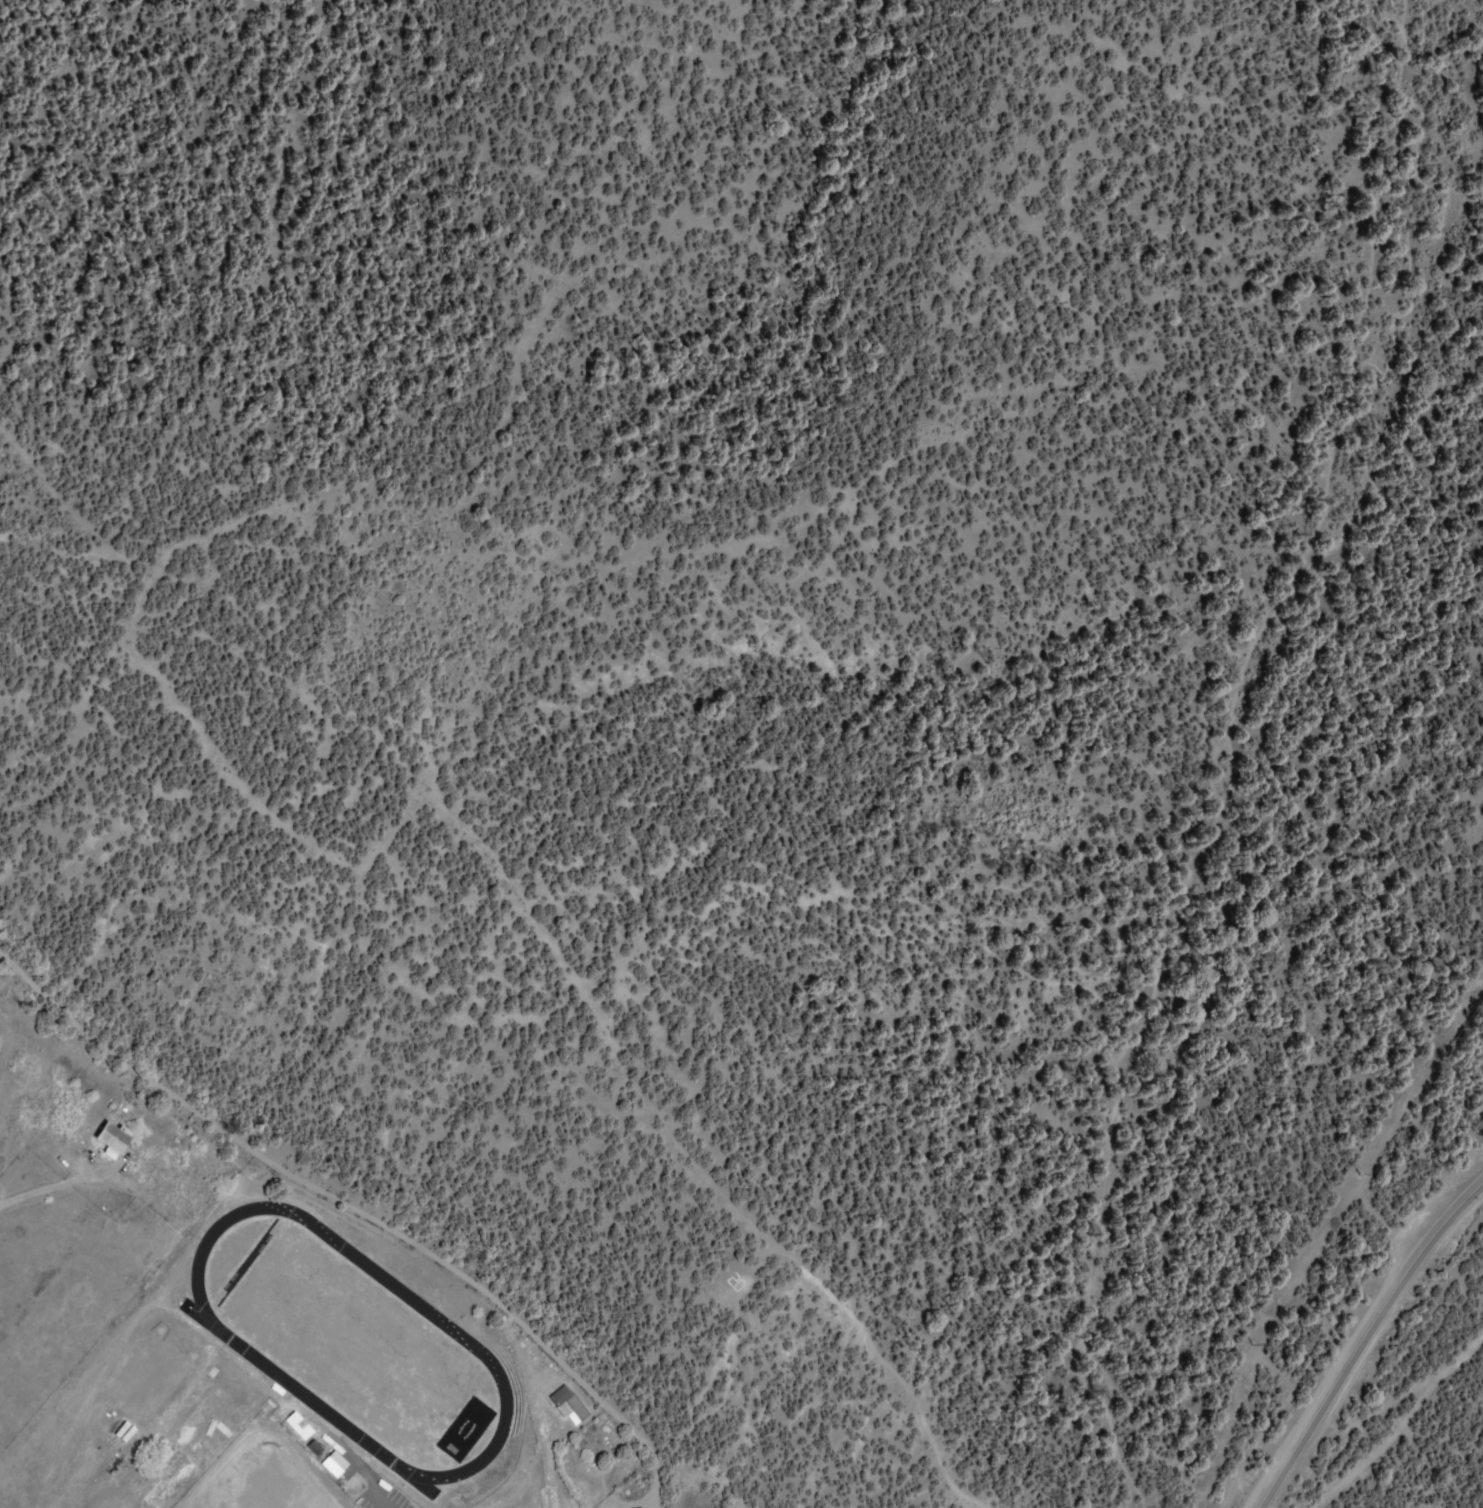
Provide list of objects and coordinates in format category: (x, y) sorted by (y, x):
building: (110, 1140)
road: (56, 1185)
road: (362, 1210)
road: (302, 1217)
road: (1360, 1338)
park: (349, 1340)
track: (350, 1341)
building: (567, 1403)
building: (297, 1425)
building: (313, 1447)
building: (332, 1463)
park: (596, 1463)

